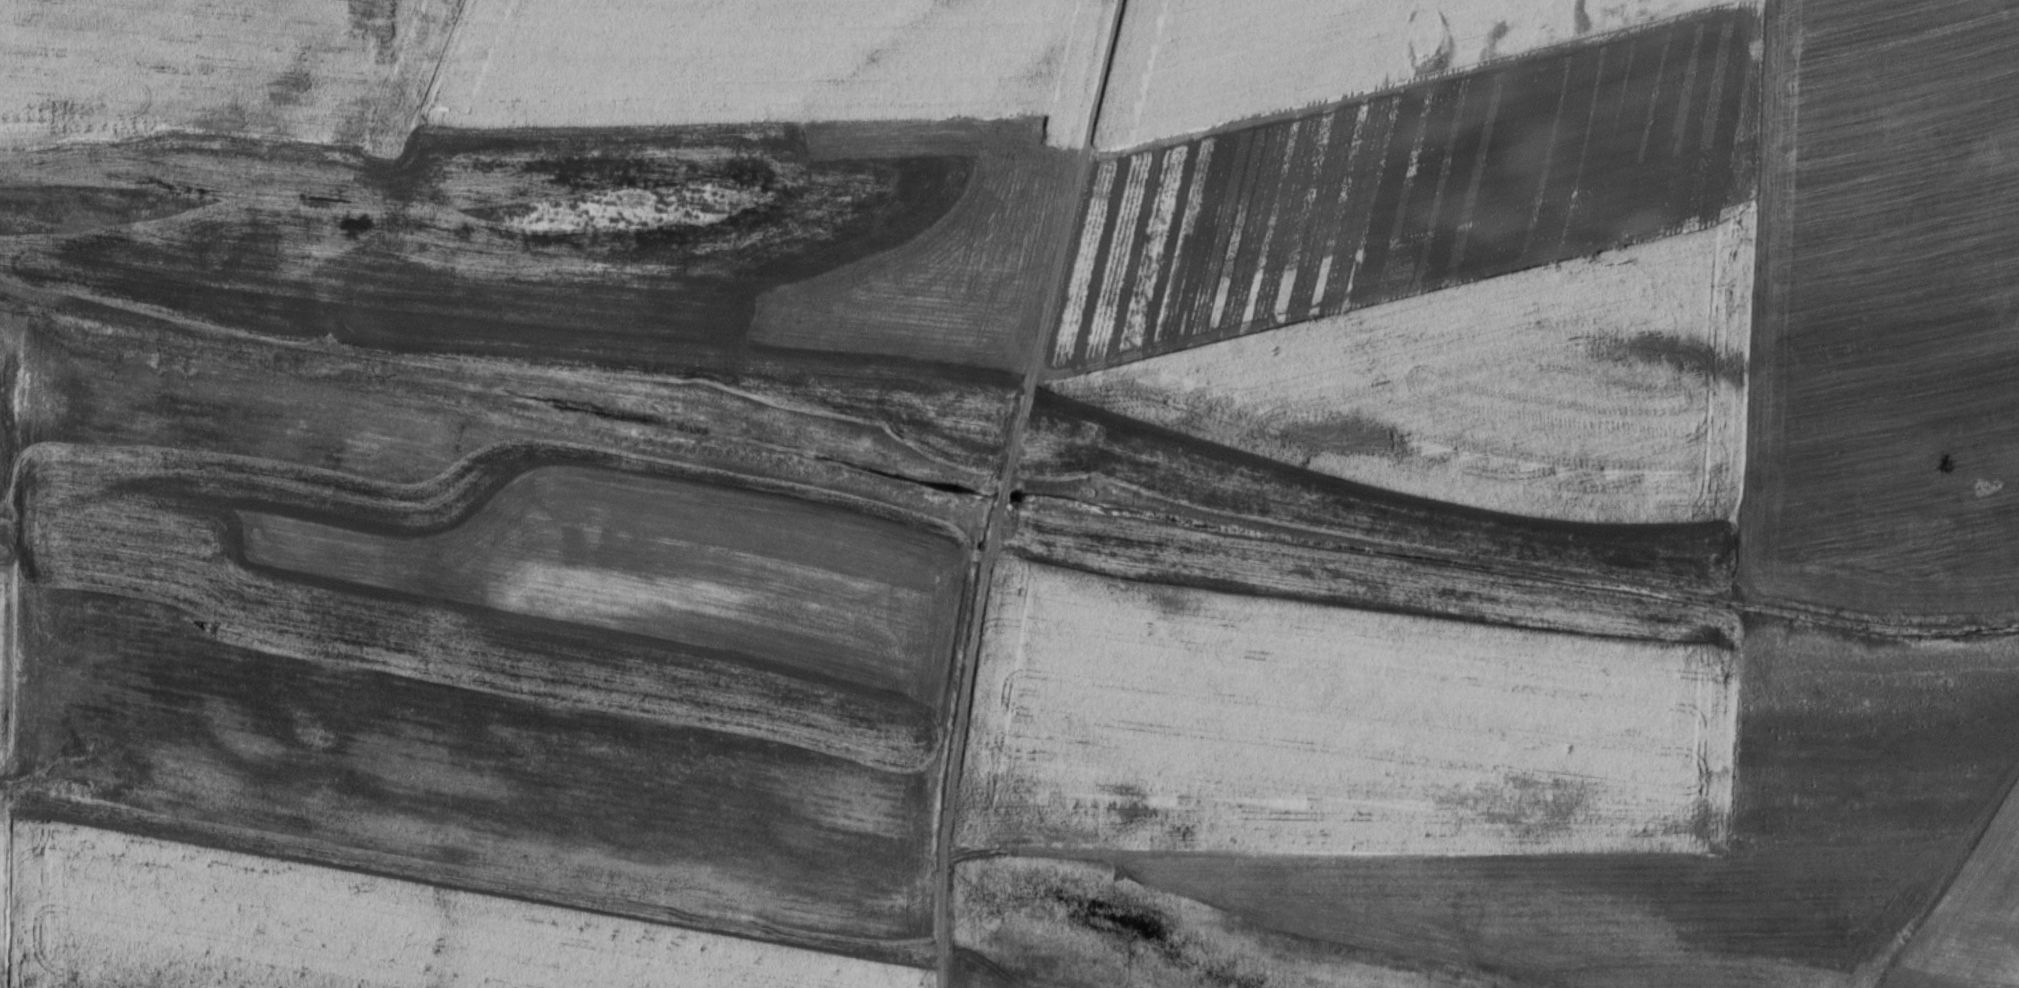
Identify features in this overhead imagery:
road: (1005, 490)

